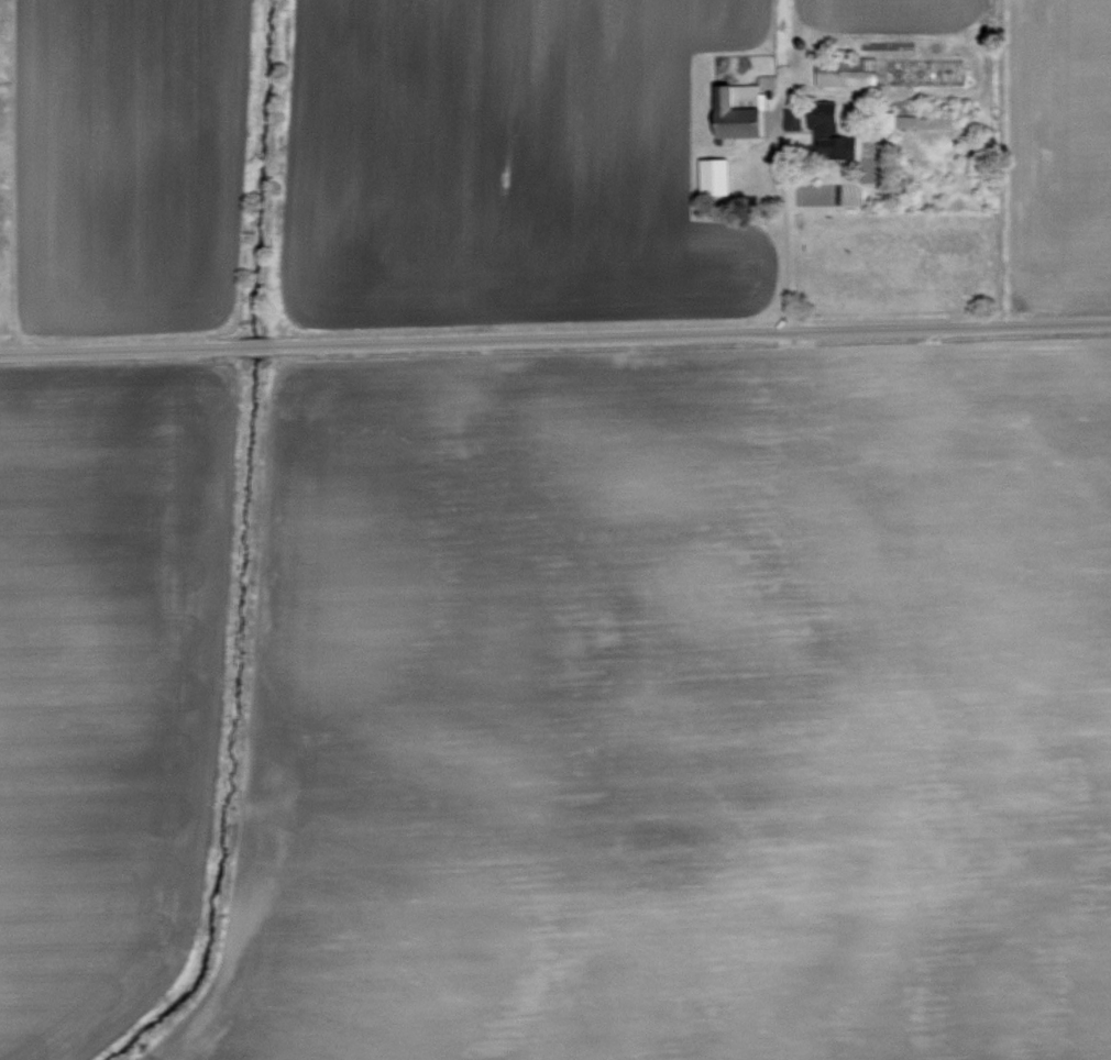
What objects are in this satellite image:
building: (936, 69)
building: (853, 73)
building: (740, 111)
building: (793, 118)
building: (716, 174)
road: (782, 231)
road: (554, 336)

